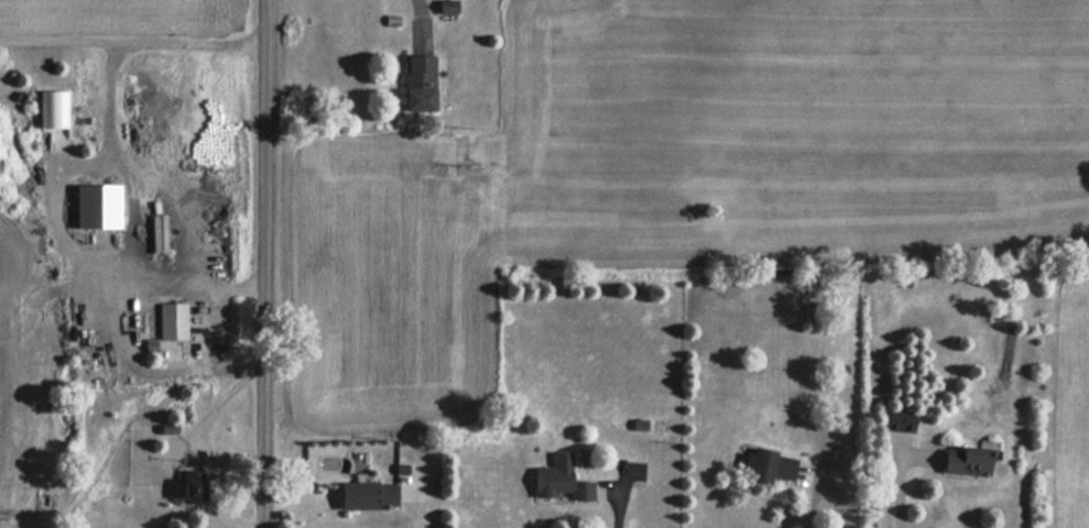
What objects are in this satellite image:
building: (448, 7)
road: (424, 16)
road: (131, 36)
building: (418, 84)
building: (53, 109)
building: (98, 206)
road: (168, 206)
road: (132, 213)
road: (55, 226)
road: (261, 264)
building: (173, 320)
road: (215, 328)
building: (151, 344)
road: (150, 371)
building: (899, 420)
road: (206, 449)
building: (769, 465)
building: (560, 480)
building: (193, 484)
road: (897, 491)
building: (369, 495)
road: (613, 495)
road: (409, 503)
road: (810, 507)

